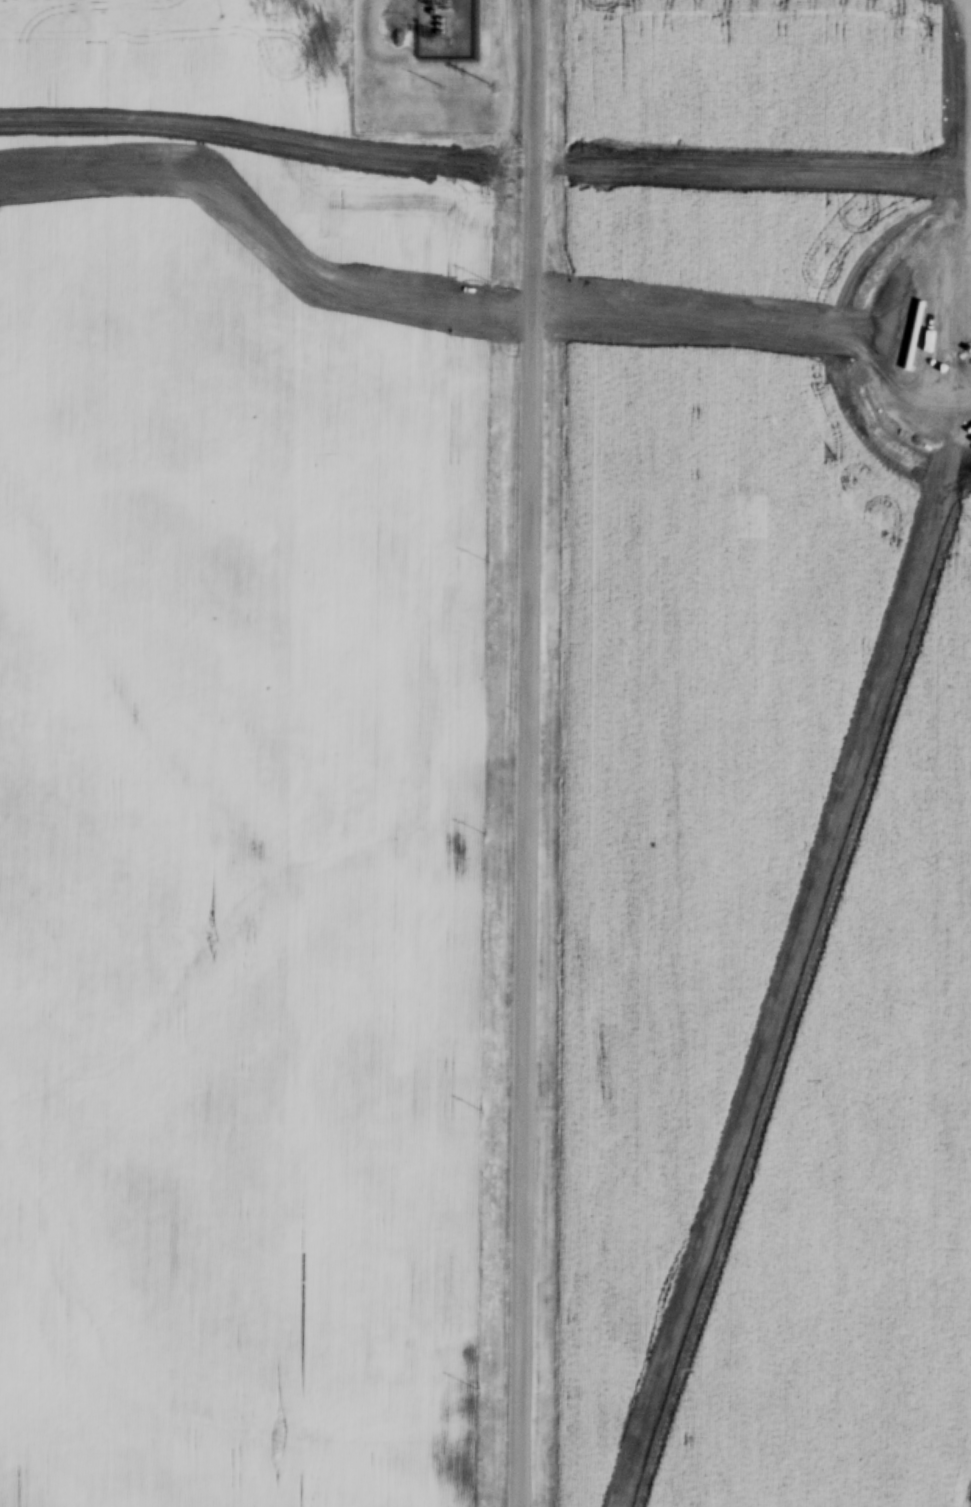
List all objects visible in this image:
wind turbine: (955, 345)
road: (528, 753)

